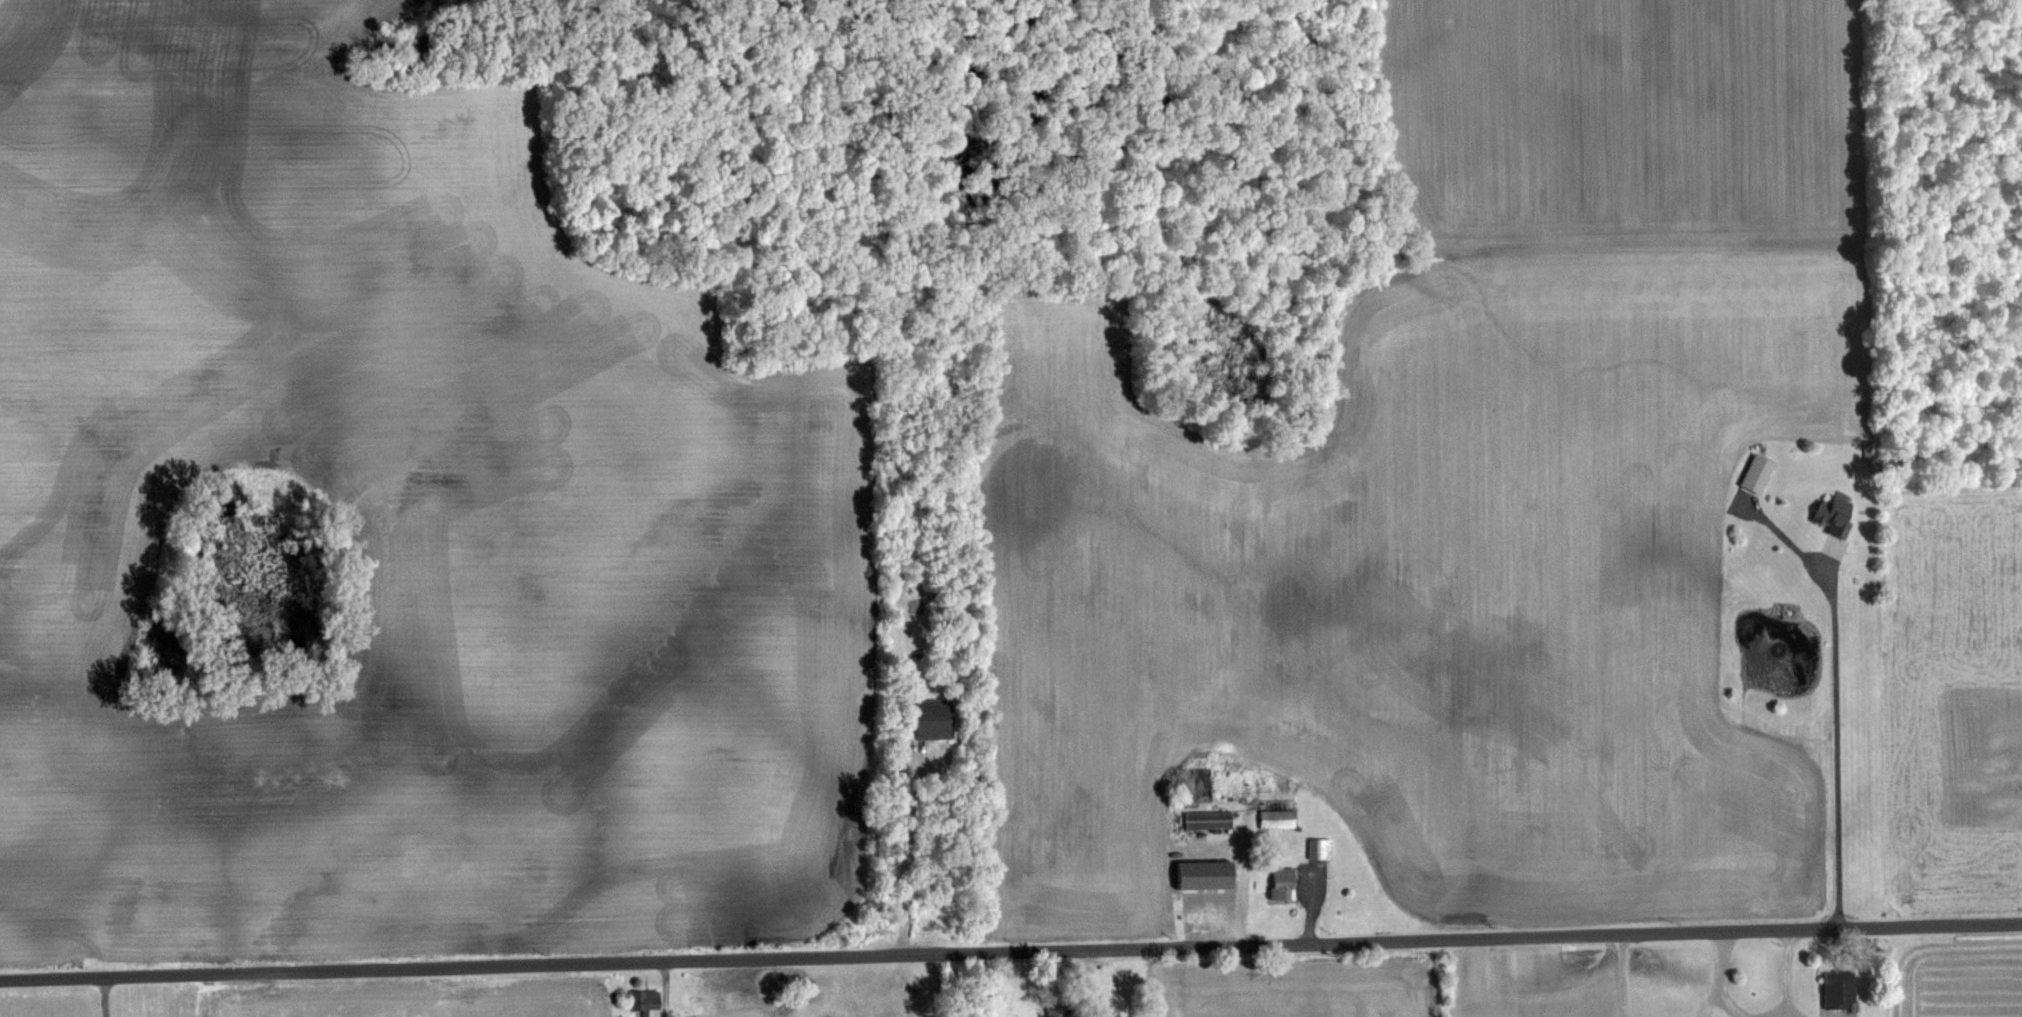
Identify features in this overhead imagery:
building: (1753, 474)
building: (1829, 515)
building: (929, 719)
building: (1275, 819)
building: (1206, 820)
building: (1278, 883)
road: (1010, 953)
building: (1837, 990)
building: (645, 1001)

